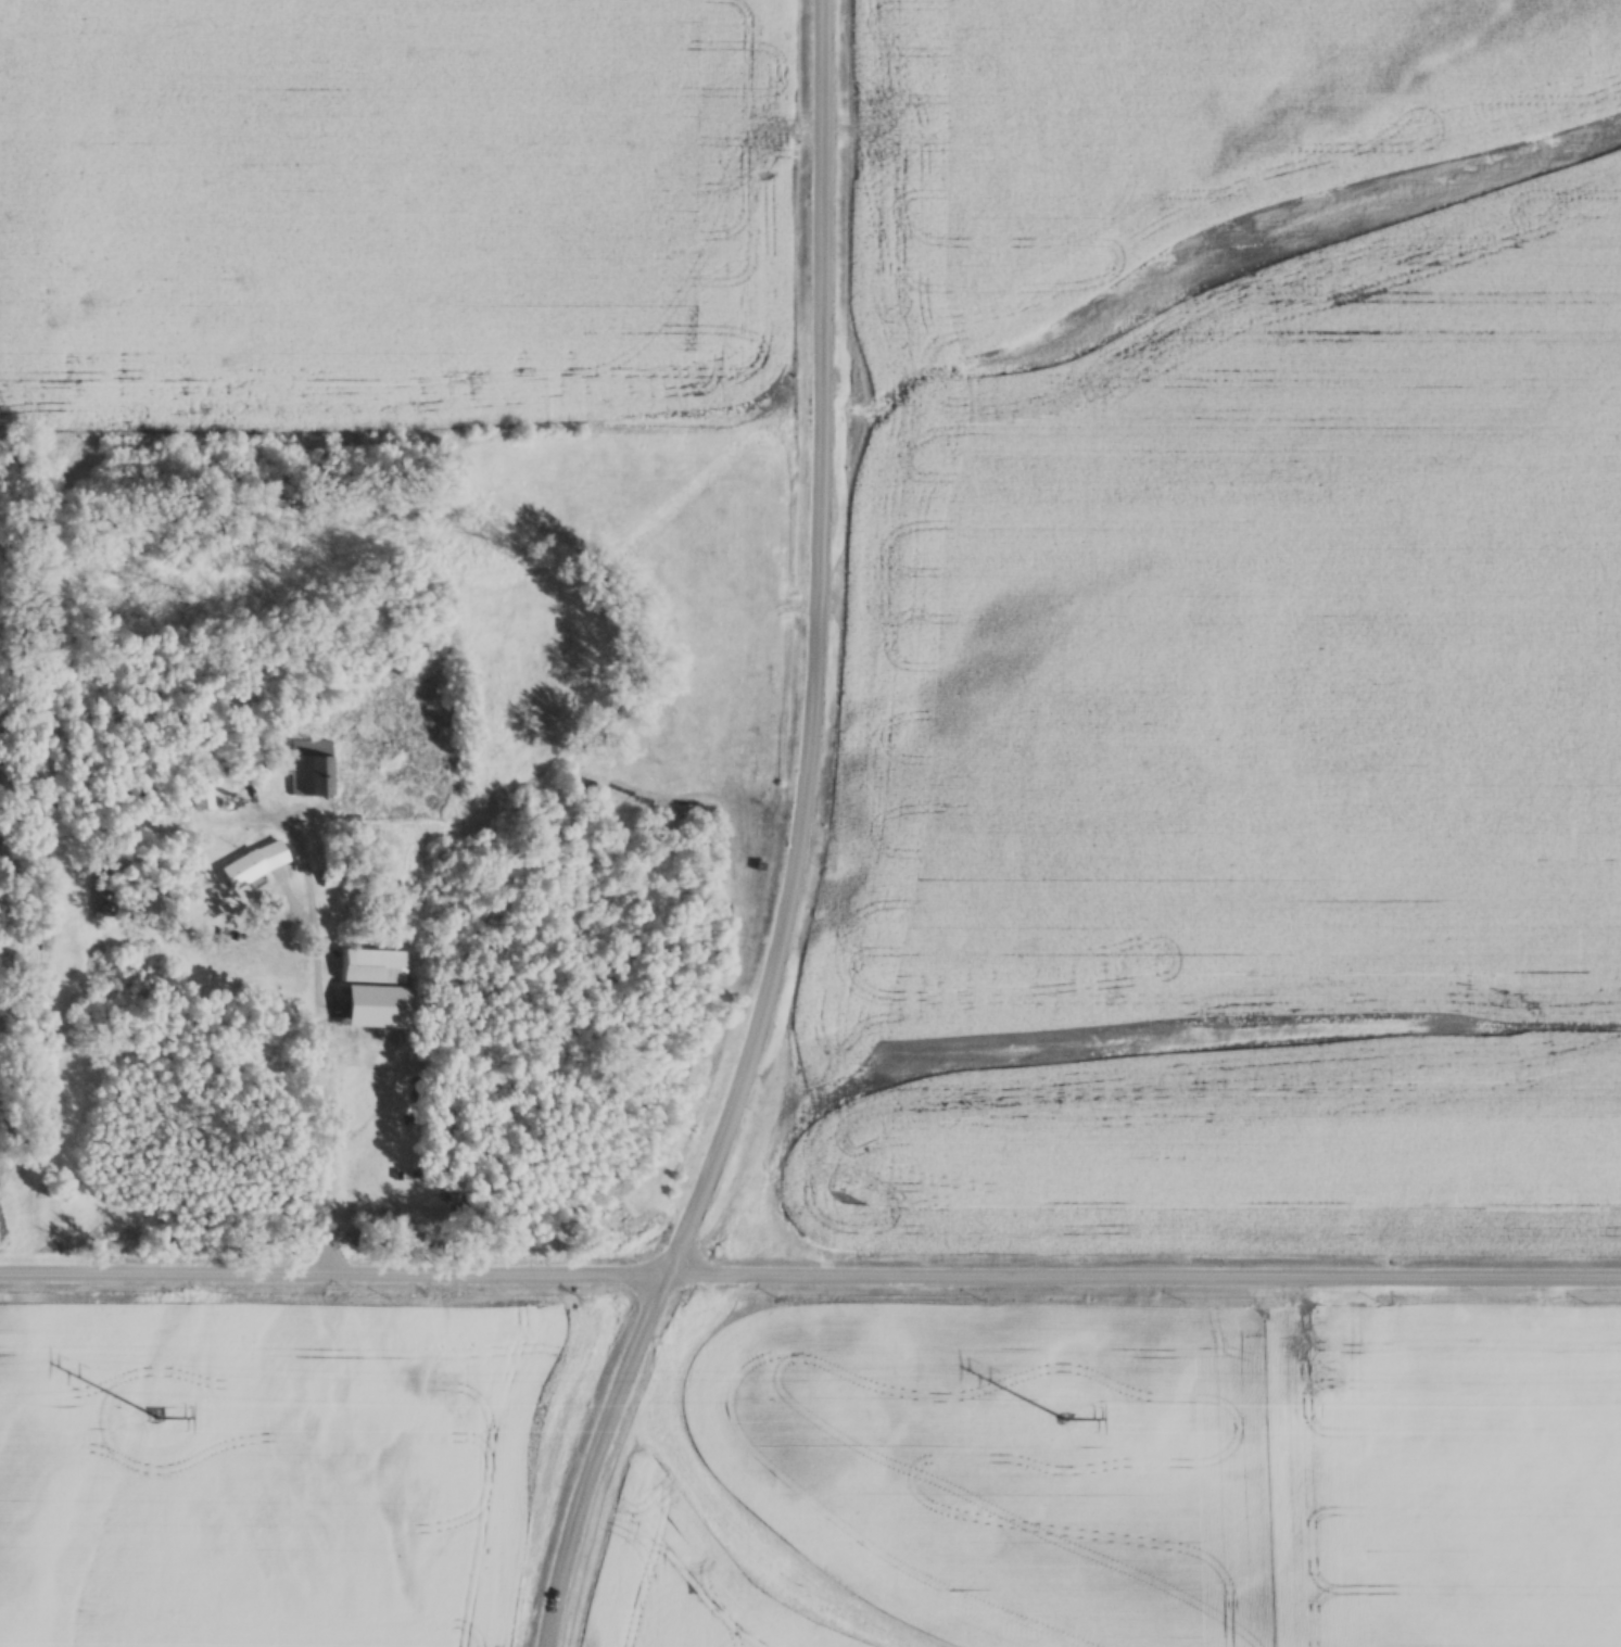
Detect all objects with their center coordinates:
road: (828, 193)
road: (827, 394)
building: (314, 769)
building: (207, 798)
building: (257, 864)
building: (335, 878)
building: (380, 966)
road: (761, 1039)
road: (325, 1052)
road: (810, 1271)
power tower: (153, 1415)
power tower: (1063, 1417)

